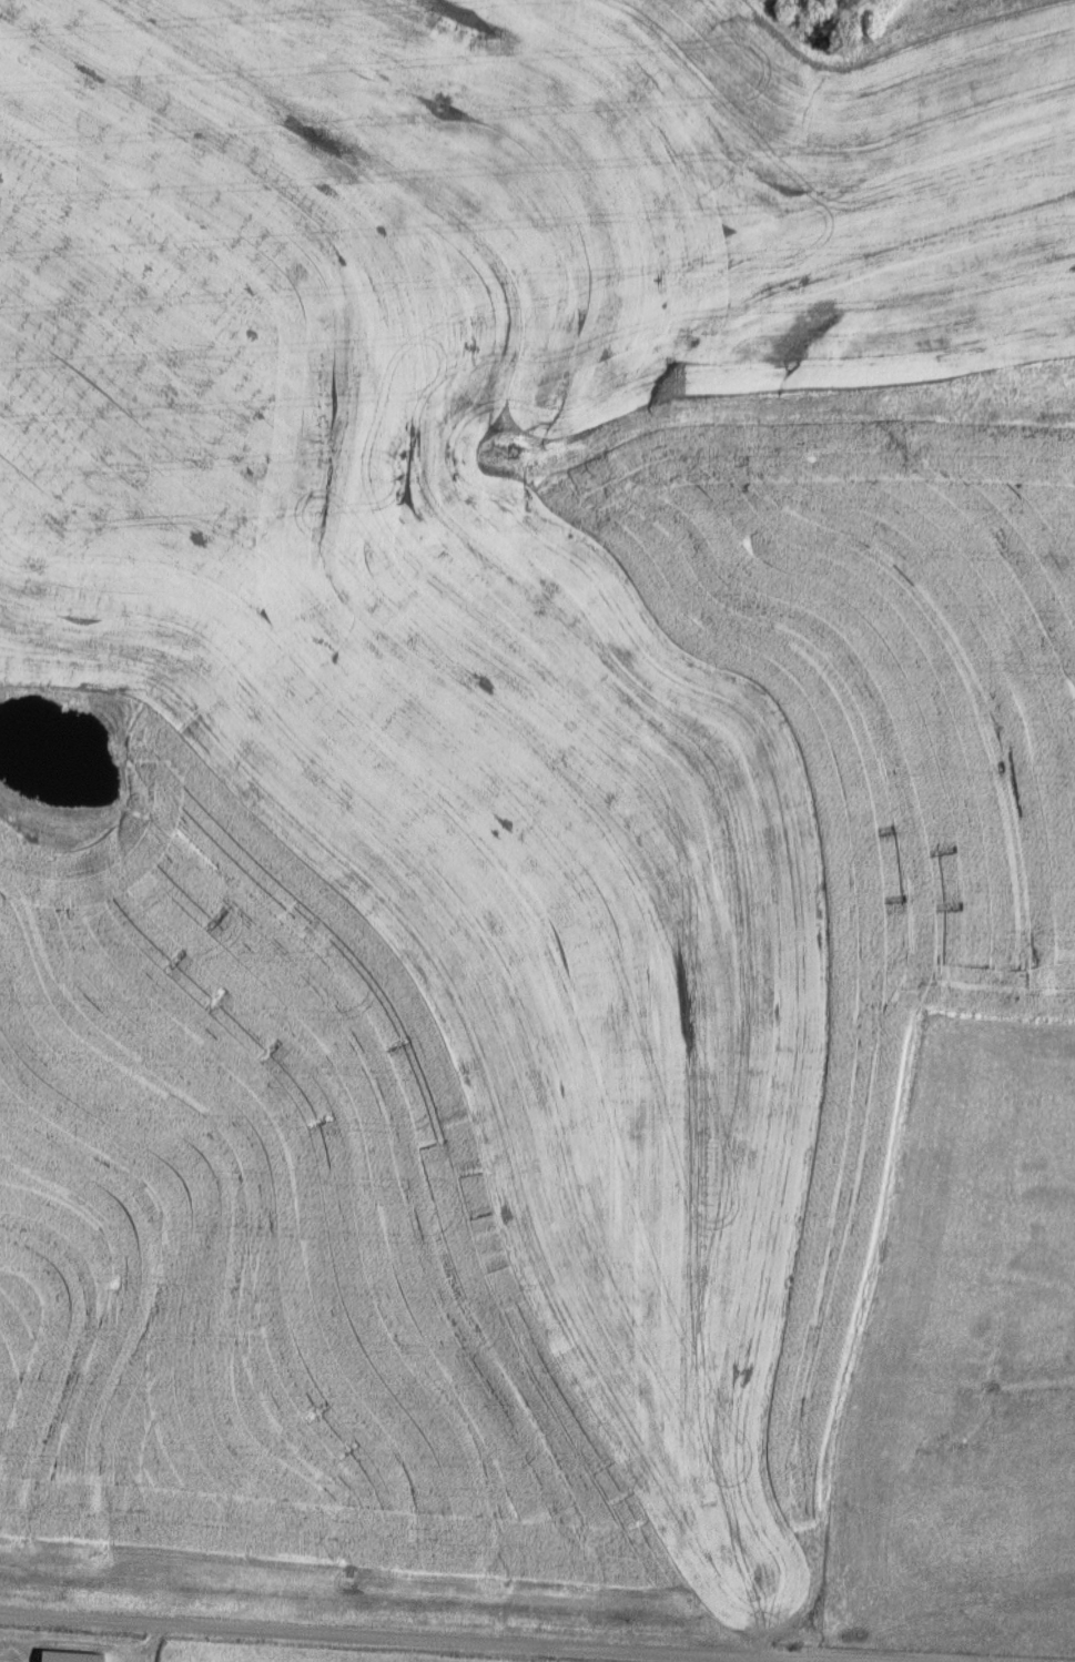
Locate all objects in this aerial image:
road: (457, 1639)
road: (778, 1659)

